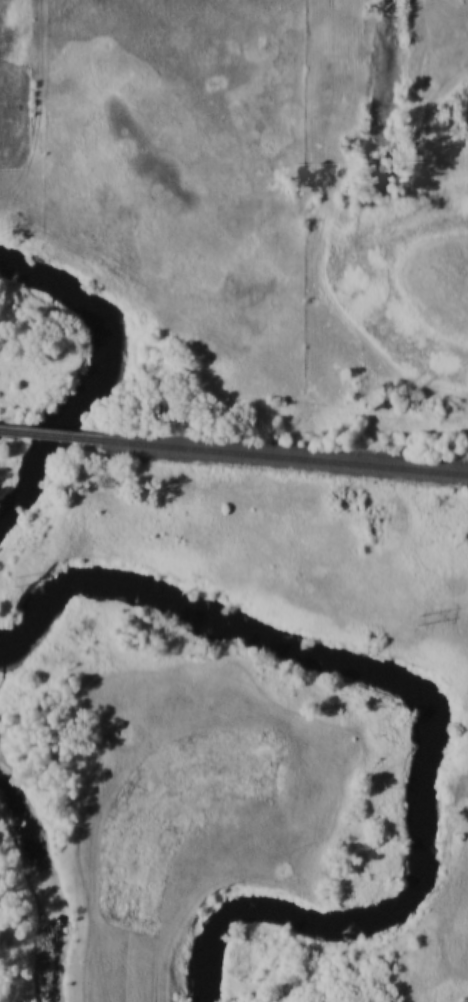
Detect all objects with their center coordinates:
river: (108, 378)
railway: (13, 430)
railway: (53, 434)
railway: (274, 454)
power tower: (19, 578)
power tower: (422, 613)
river: (376, 672)
river: (217, 944)

